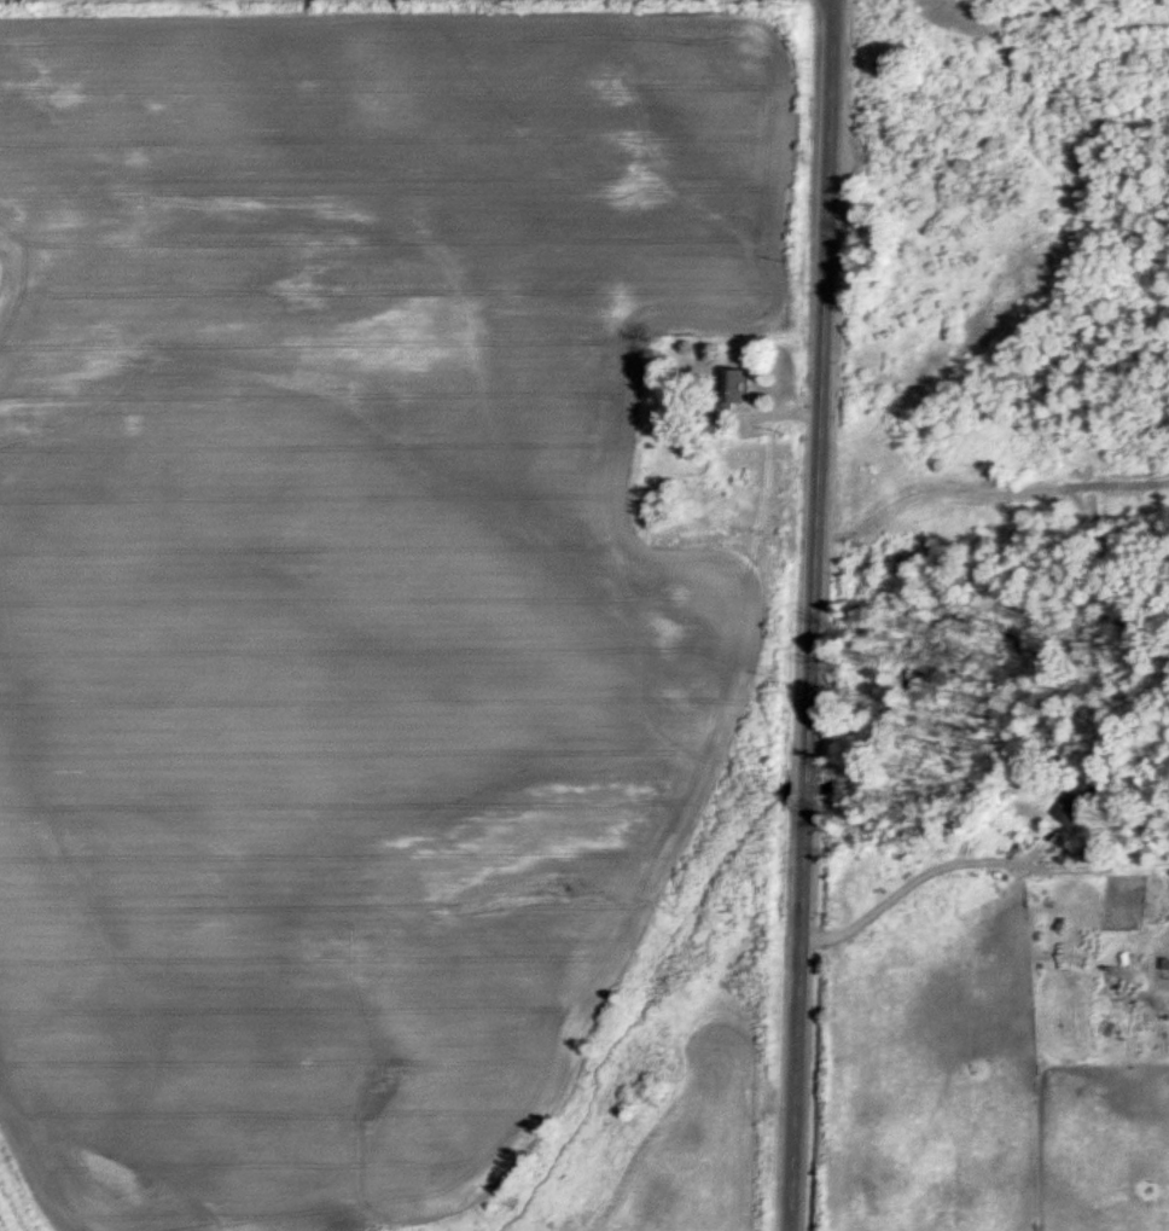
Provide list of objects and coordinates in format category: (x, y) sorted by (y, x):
building: (731, 385)
road: (813, 615)
building: (1068, 802)

